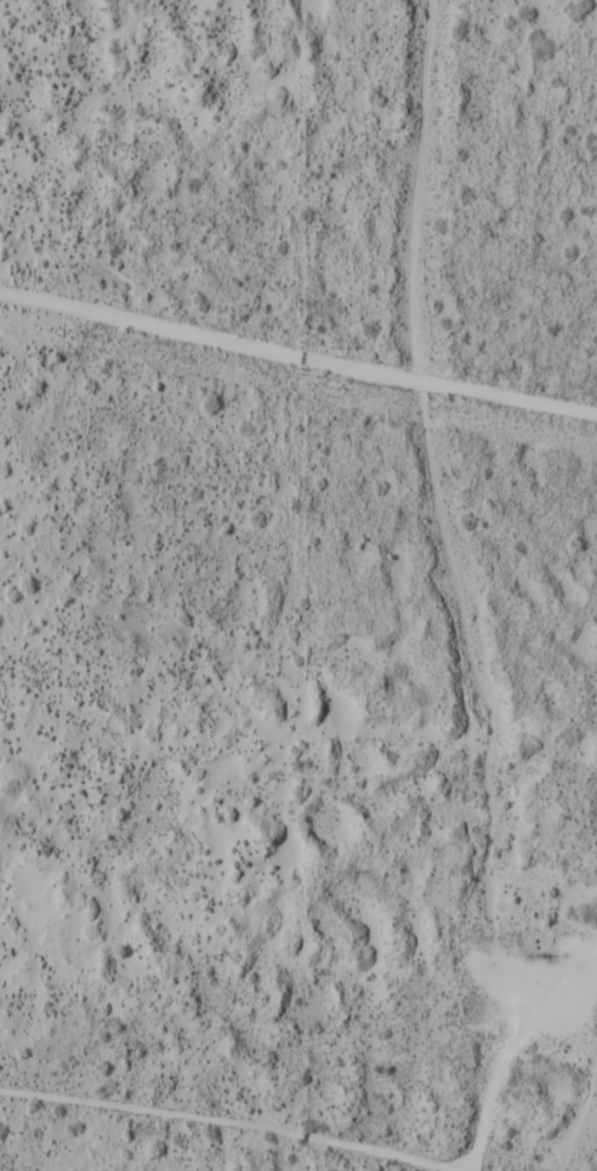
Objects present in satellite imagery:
road: (298, 358)
road: (506, 1046)
road: (221, 1127)

